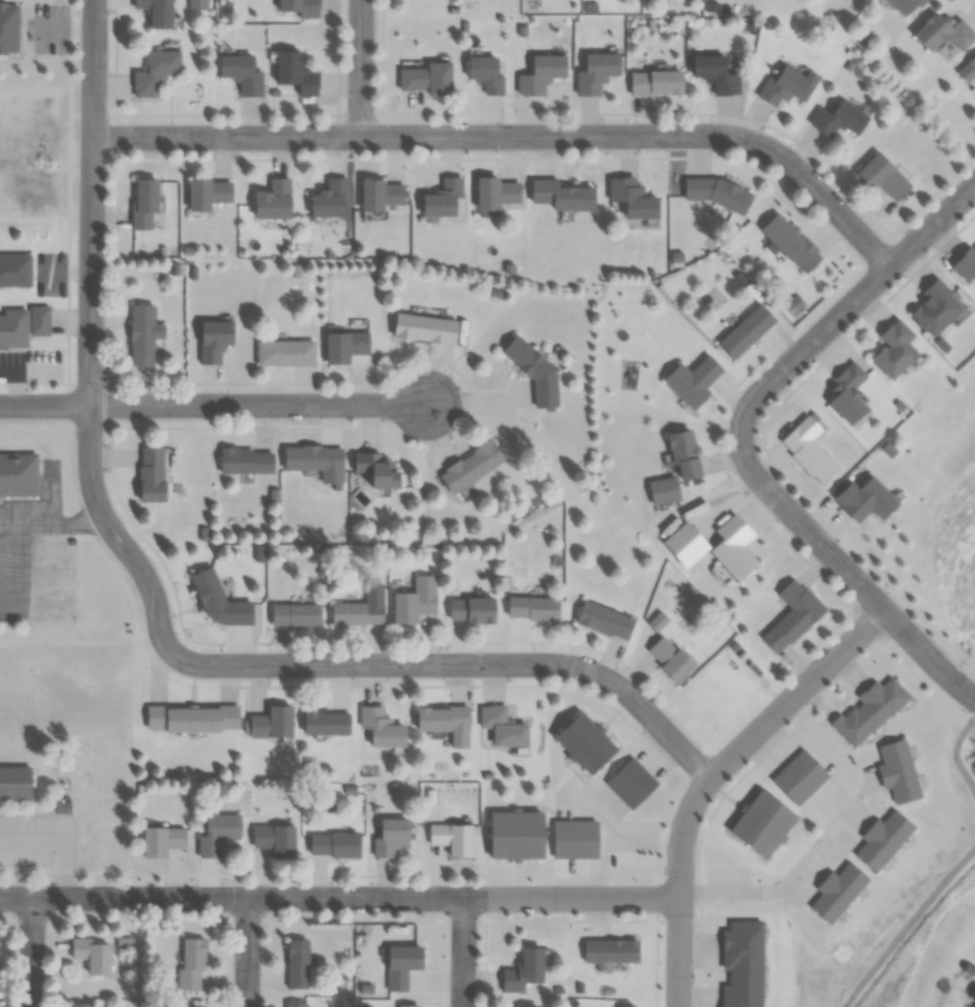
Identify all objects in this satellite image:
building: (198, 4)
building: (904, 6)
building: (300, 7)
building: (156, 12)
parking lot: (46, 29)
road: (63, 29)
building: (5, 31)
building: (941, 33)
building: (970, 65)
road: (360, 68)
building: (155, 71)
building: (595, 71)
building: (295, 72)
building: (241, 73)
building: (484, 73)
building: (540, 73)
building: (715, 73)
building: (427, 79)
building: (655, 81)
building: (786, 86)
building: (838, 119)
road: (516, 136)
building: (881, 175)
building: (207, 193)
building: (497, 193)
building: (382, 195)
building: (561, 195)
building: (631, 197)
building: (442, 198)
building: (272, 199)
building: (329, 199)
building: (143, 202)
building: (790, 242)
building: (965, 263)
building: (11, 274)
parking lot: (45, 275)
building: (794, 303)
building: (933, 308)
building: (20, 328)
building: (424, 328)
building: (745, 330)
road: (91, 331)
building: (143, 333)
building: (213, 339)
building: (345, 343)
building: (893, 348)
building: (285, 352)
parking lot: (28, 369)
building: (533, 370)
building: (692, 380)
road: (766, 384)
building: (847, 393)
road: (215, 404)
building: (807, 448)
building: (683, 454)
building: (245, 460)
building: (315, 460)
building: (469, 466)
building: (376, 470)
building: (150, 473)
building: (15, 479)
building: (864, 499)
building: (733, 547)
parking lot: (12, 579)
building: (218, 601)
building: (414, 601)
park: (965, 607)
building: (531, 608)
building: (470, 610)
building: (356, 612)
building: (294, 614)
building: (792, 615)
building: (603, 620)
road: (899, 622)
road: (943, 640)
road: (927, 655)
building: (669, 657)
road: (458, 663)
building: (869, 711)
building: (191, 717)
building: (324, 721)
building: (444, 722)
building: (270, 723)
building: (502, 726)
building: (380, 727)
road: (751, 736)
building: (583, 742)
road: (955, 751)
road: (757, 760)
building: (897, 771)
road: (603, 774)
building: (798, 777)
building: (630, 783)
building: (11, 788)
building: (761, 823)
building: (217, 832)
building: (515, 834)
building: (390, 836)
road: (826, 836)
building: (452, 838)
building: (574, 838)
building: (274, 839)
building: (881, 839)
building: (161, 840)
parking lot: (35, 841)
road: (641, 843)
building: (333, 844)
road: (597, 870)
road: (325, 878)
building: (836, 891)
road: (339, 897)
road: (657, 898)
road: (678, 919)
road: (907, 925)
building: (610, 950)
road: (32, 951)
road: (247, 952)
road: (463, 952)
road: (679, 952)
building: (91, 954)
building: (297, 963)
building: (190, 964)
building: (401, 964)
building: (742, 964)
building: (523, 970)
building: (80, 1004)
building: (296, 1004)
building: (408, 1005)
building: (192, 1006)
building: (626, 1006)

